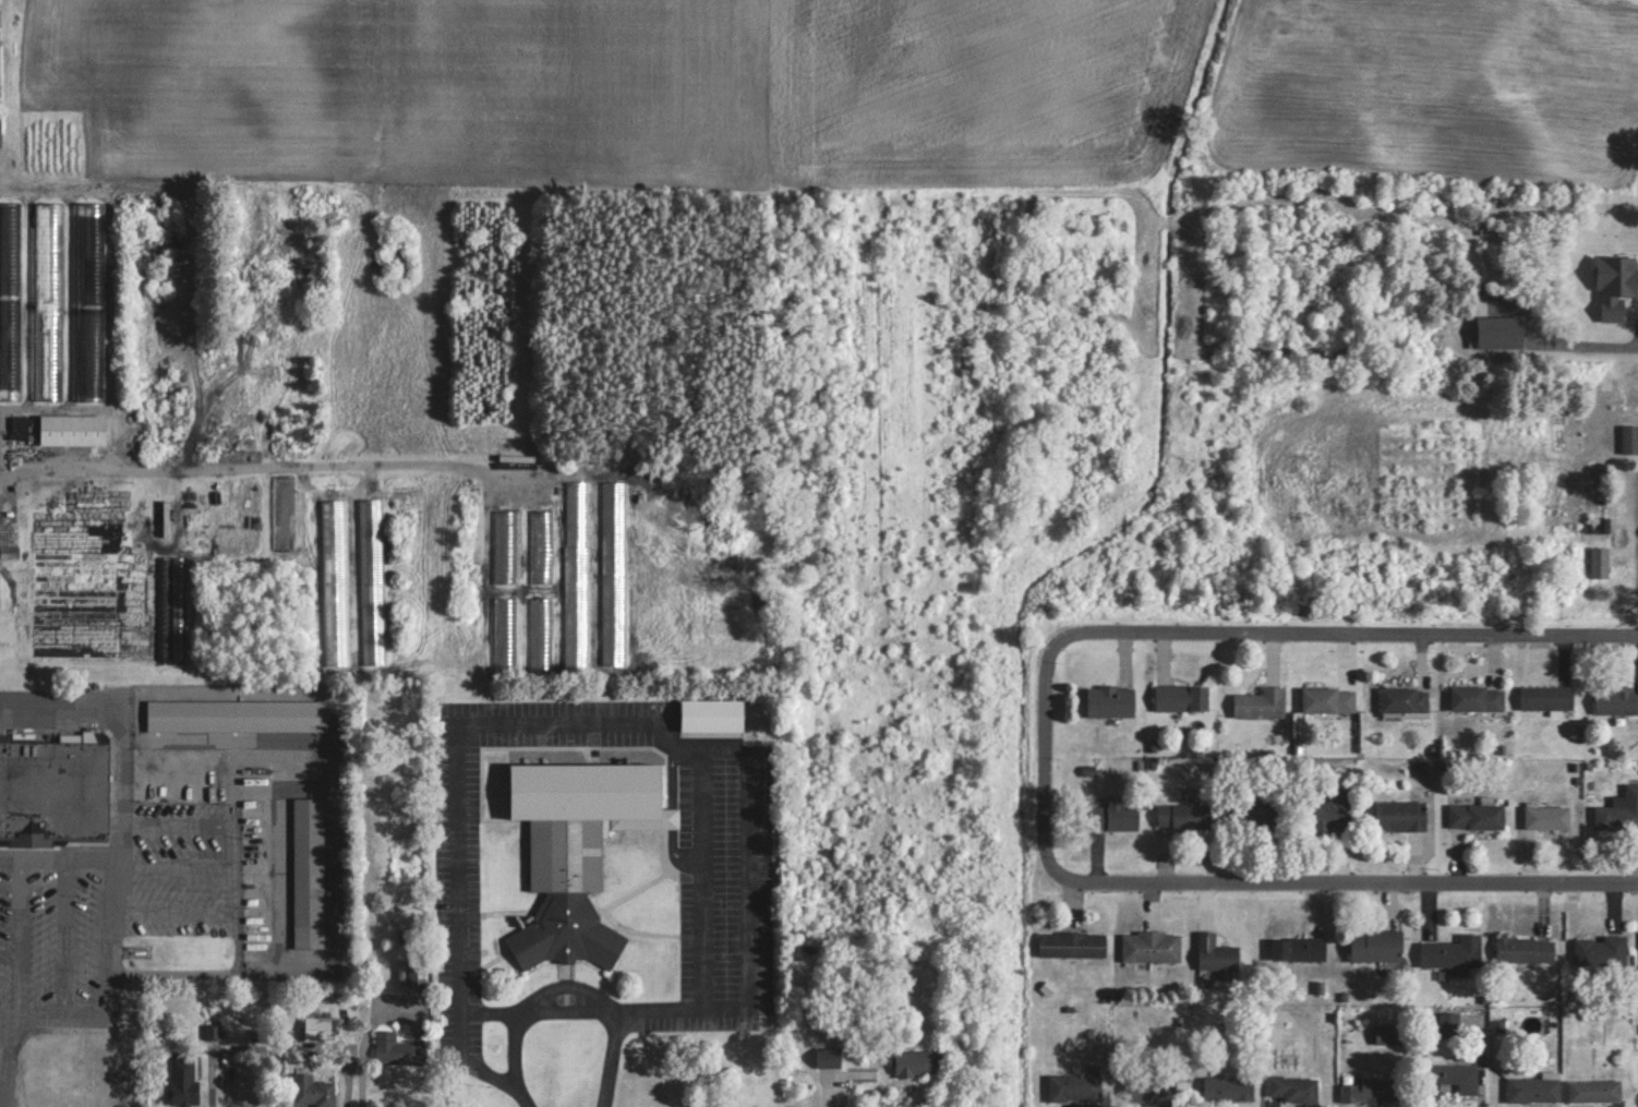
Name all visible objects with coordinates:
building: (0, 130)
building: (10, 300)
building: (48, 301)
building: (91, 301)
road: (1599, 338)
building: (73, 430)
building: (1630, 438)
building: (517, 457)
road: (258, 465)
building: (285, 512)
building: (505, 545)
building: (541, 545)
building: (1601, 562)
building: (577, 575)
building: (336, 591)
building: (373, 591)
road: (1290, 628)
building: (505, 633)
building: (541, 633)
building: (1182, 696)
building: (1547, 697)
building: (1479, 698)
building: (1329, 699)
building: (1406, 699)
building: (1617, 699)
building: (1111, 700)
building: (1262, 702)
building: (237, 714)
building: (712, 714)
road: (641, 722)
road: (122, 729)
building: (53, 791)
building: (1333, 811)
building: (1619, 813)
building: (1263, 814)
building: (1401, 815)
building: (1115, 816)
building: (1184, 816)
building: (1478, 816)
building: (1549, 817)
road: (197, 823)
building: (578, 850)
road: (177, 867)
building: (309, 873)
road: (1288, 876)
road: (176, 912)
road: (113, 934)
building: (1073, 944)
building: (1377, 946)
building: (1152, 947)
building: (1300, 949)
building: (1526, 949)
building: (1601, 951)
building: (1454, 952)
building: (1217, 953)
road: (222, 972)
road: (544, 1007)
building: (1448, 1024)
building: (317, 1028)
road: (361, 1045)
building: (399, 1050)
building: (829, 1054)
building: (917, 1062)
building: (183, 1079)
road: (214, 1080)
building: (1453, 1080)
building: (1075, 1087)
building: (1229, 1088)
building: (1294, 1088)
building: (1371, 1088)
building: (1534, 1088)
building: (313, 1091)
building: (1595, 1091)

